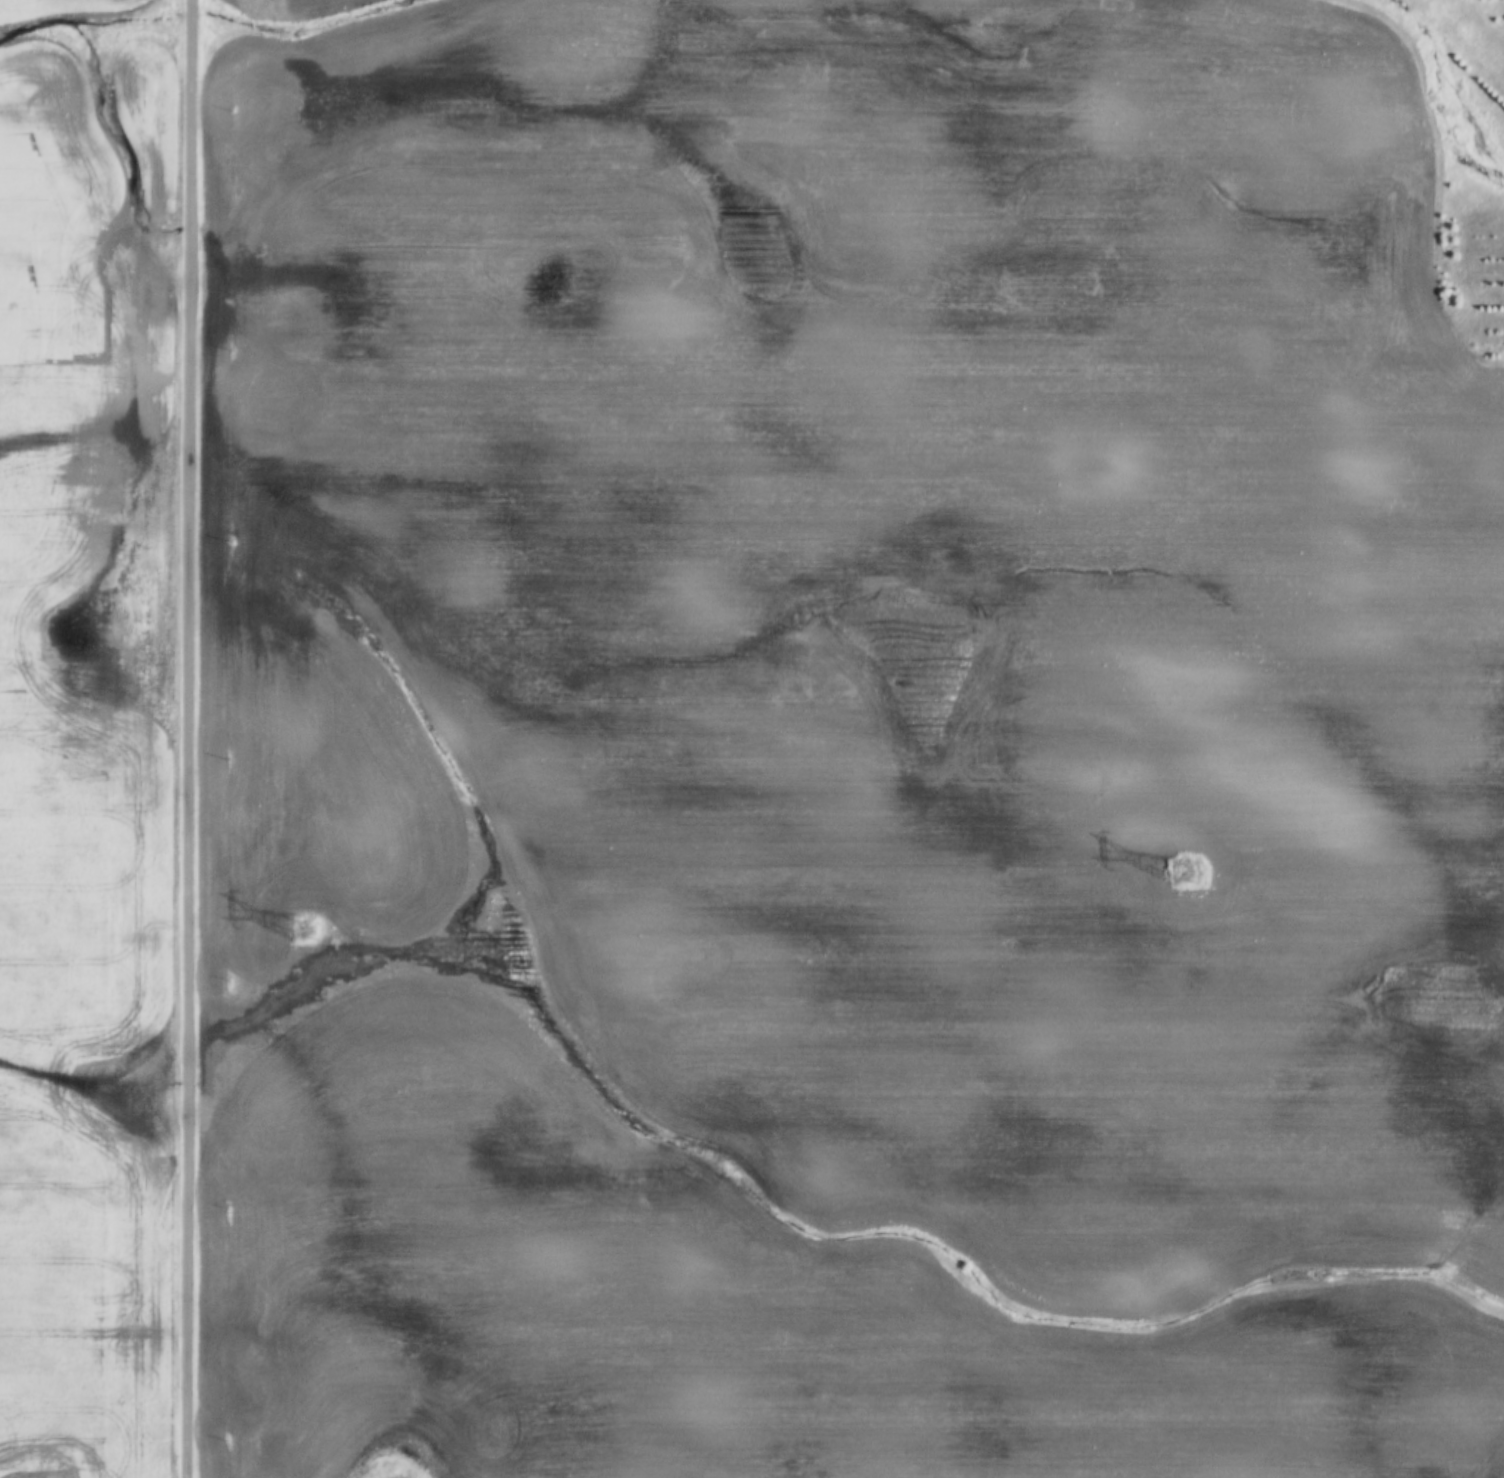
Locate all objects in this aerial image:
road: (190, 739)
power tower: (1183, 871)
power tower: (301, 927)

